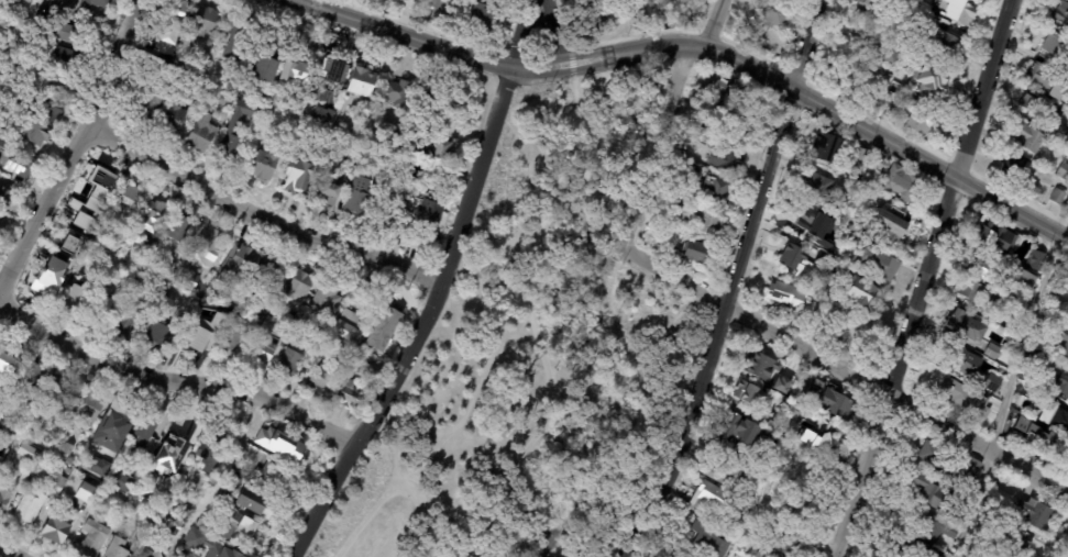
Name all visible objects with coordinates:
building: (409, 0)
building: (415, 0)
building: (419, 0)
building: (471, 0)
building: (441, 5)
building: (95, 7)
building: (869, 9)
building: (23, 11)
building: (954, 11)
building: (768, 12)
building: (792, 13)
building: (177, 14)
road: (568, 14)
building: (1060, 14)
road: (592, 16)
building: (485, 19)
building: (209, 23)
road: (550, 31)
building: (71, 34)
road: (406, 34)
road: (526, 34)
building: (242, 41)
building: (865, 43)
building: (1050, 44)
building: (0, 45)
building: (944, 45)
road: (662, 46)
building: (887, 49)
building: (170, 52)
building: (67, 59)
road: (577, 59)
building: (331, 70)
building: (271, 71)
building: (854, 73)
building: (301, 74)
building: (900, 77)
building: (932, 77)
building: (1041, 77)
building: (366, 83)
building: (64, 87)
building: (724, 88)
building: (744, 89)
building: (9, 93)
building: (320, 93)
building: (398, 93)
building: (873, 99)
building: (229, 101)
building: (430, 101)
building: (715, 107)
building: (1039, 107)
building: (55, 108)
building: (150, 109)
building: (322, 114)
building: (916, 116)
building: (174, 120)
building: (335, 121)
road: (671, 121)
building: (730, 125)
building: (241, 130)
building: (36, 133)
building: (205, 133)
road: (880, 133)
building: (709, 134)
building: (1066, 137)
building: (1031, 140)
road: (79, 145)
building: (821, 146)
building: (448, 153)
building: (726, 156)
building: (858, 158)
building: (15, 161)
building: (266, 167)
building: (1015, 168)
building: (1063, 170)
building: (858, 176)
building: (300, 178)
building: (1055, 180)
building: (95, 181)
building: (895, 181)
building: (816, 183)
building: (1064, 185)
building: (364, 186)
building: (723, 191)
building: (1057, 197)
building: (5, 198)
building: (132, 200)
road: (263, 213)
building: (395, 215)
building: (155, 216)
building: (808, 216)
building: (430, 218)
building: (706, 220)
building: (81, 221)
building: (881, 222)
building: (85, 227)
building: (684, 231)
building: (180, 232)
building: (100, 236)
building: (990, 236)
building: (151, 245)
building: (74, 247)
building: (117, 250)
building: (700, 250)
building: (131, 256)
building: (202, 259)
building: (796, 260)
building: (1035, 260)
building: (877, 261)
building: (64, 263)
building: (239, 264)
building: (979, 266)
building: (1061, 266)
building: (268, 274)
building: (173, 279)
road: (926, 279)
road: (740, 283)
building: (1017, 283)
building: (49, 286)
building: (304, 286)
road: (525, 286)
building: (780, 291)
building: (859, 291)
building: (970, 291)
building: (1067, 292)
building: (78, 300)
building: (329, 301)
building: (266, 302)
building: (279, 309)
building: (101, 310)
building: (132, 319)
building: (201, 320)
road: (423, 322)
building: (330, 324)
building: (384, 326)
building: (966, 326)
building: (291, 327)
building: (350, 327)
building: (1016, 328)
park: (540, 330)
building: (311, 335)
building: (165, 338)
building: (203, 341)
building: (236, 341)
building: (1063, 345)
building: (992, 352)
building: (265, 354)
building: (1038, 357)
building: (7, 359)
building: (293, 363)
building: (760, 366)
road: (846, 367)
building: (973, 369)
road: (1012, 376)
building: (33, 378)
building: (320, 378)
road: (178, 380)
building: (1059, 380)
building: (781, 385)
building: (62, 389)
building: (1031, 391)
road: (647, 392)
building: (748, 393)
building: (352, 394)
building: (825, 398)
building: (0, 399)
building: (966, 401)
building: (993, 403)
building: (91, 409)
building: (1054, 417)
building: (120, 421)
building: (774, 424)
building: (738, 426)
building: (54, 430)
building: (147, 431)
building: (815, 437)
building: (1005, 437)
building: (1038, 437)
building: (218, 443)
building: (764, 443)
building: (284, 448)
building: (70, 454)
building: (174, 454)
building: (31, 455)
building: (101, 466)
building: (949, 466)
building: (0, 469)
building: (244, 471)
building: (271, 472)
building: (737, 476)
building: (26, 477)
building: (236, 484)
building: (126, 486)
building: (85, 491)
road: (407, 491)
building: (111, 493)
building: (703, 494)
building: (932, 494)
building: (4, 500)
building: (253, 502)
building: (38, 503)
building: (177, 511)
building: (797, 512)
building: (1034, 515)
building: (208, 525)
building: (937, 527)
building: (245, 531)
building: (58, 532)
building: (175, 533)
road: (405, 534)
building: (709, 538)
building: (141, 539)
building: (1014, 539)
building: (92, 541)
road: (577, 541)
road: (478, 542)
parking lot: (546, 542)
building: (206, 545)
building: (784, 548)
building: (119, 549)
building: (911, 549)
road: (9, 552)
road: (486, 553)
building: (146, 554)
building: (756, 554)
building: (240, 556)
building: (704, 556)

